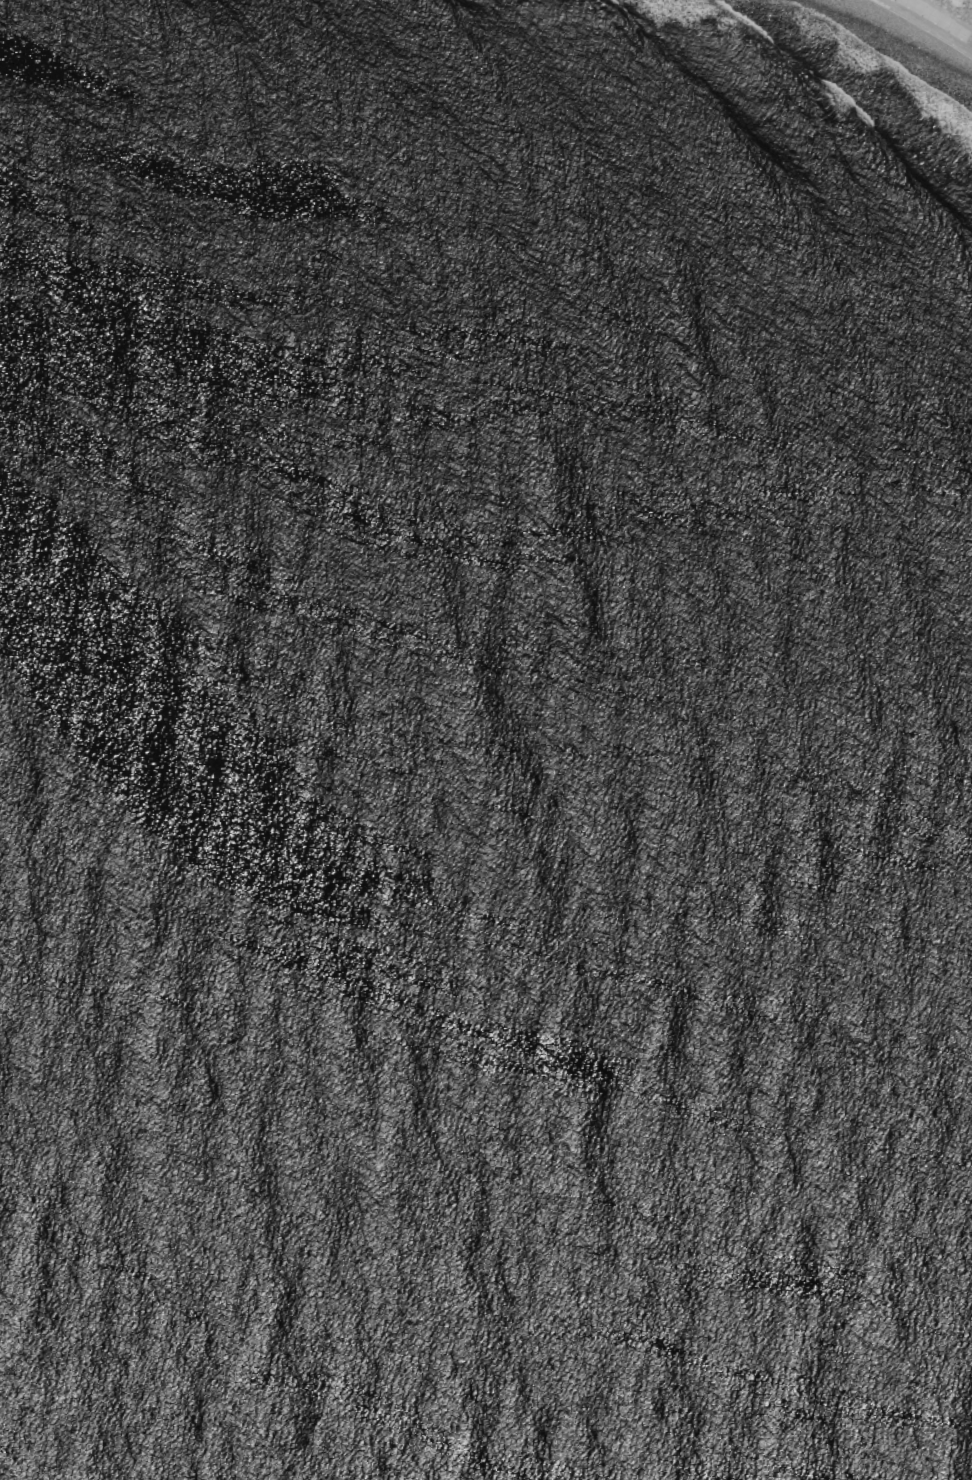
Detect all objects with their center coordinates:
road: (940, 16)
park: (924, 26)

